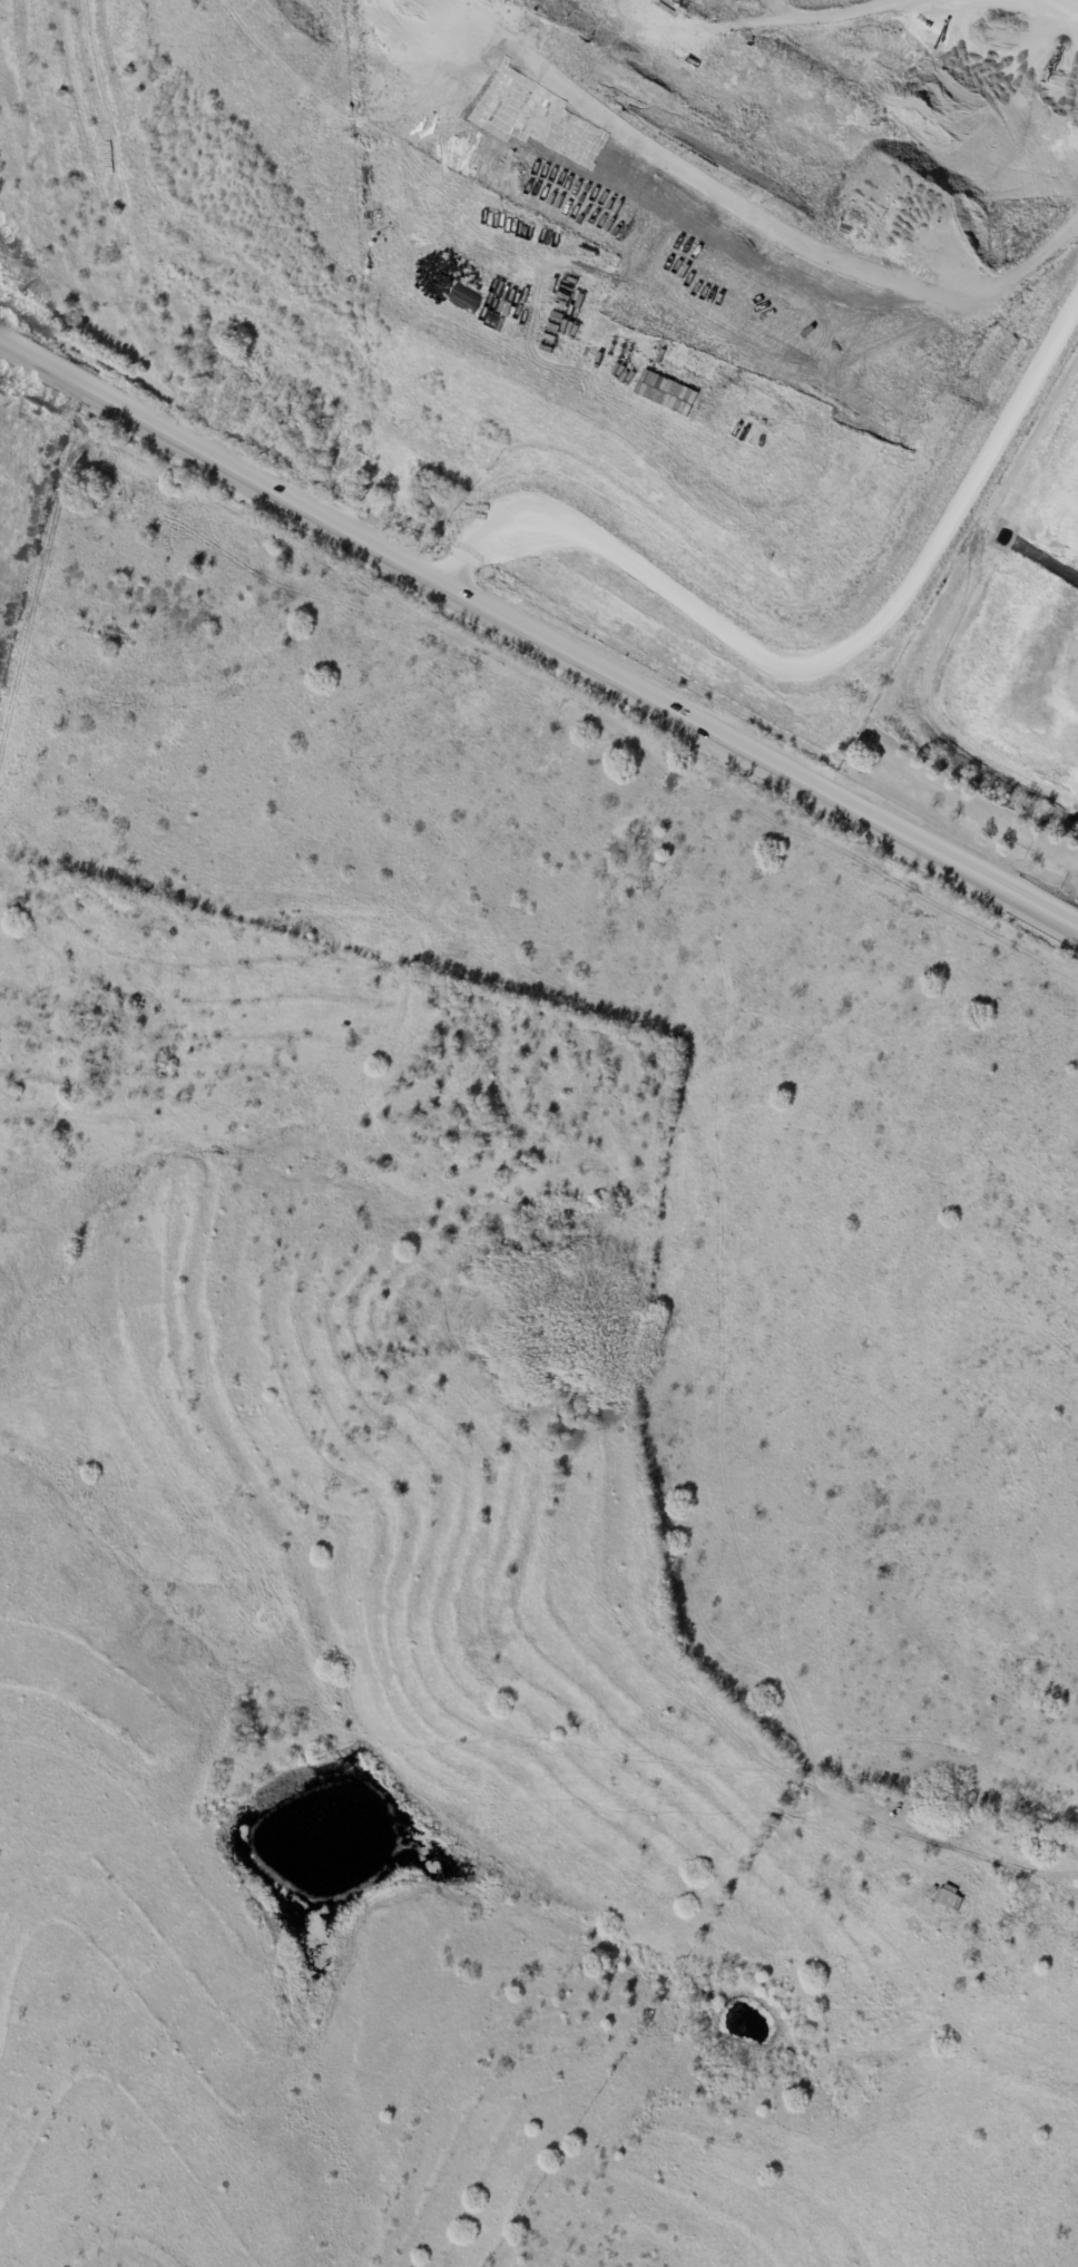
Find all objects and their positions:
building: (667, 393)
road: (539, 641)
landfill: (1020, 653)
road: (824, 659)

